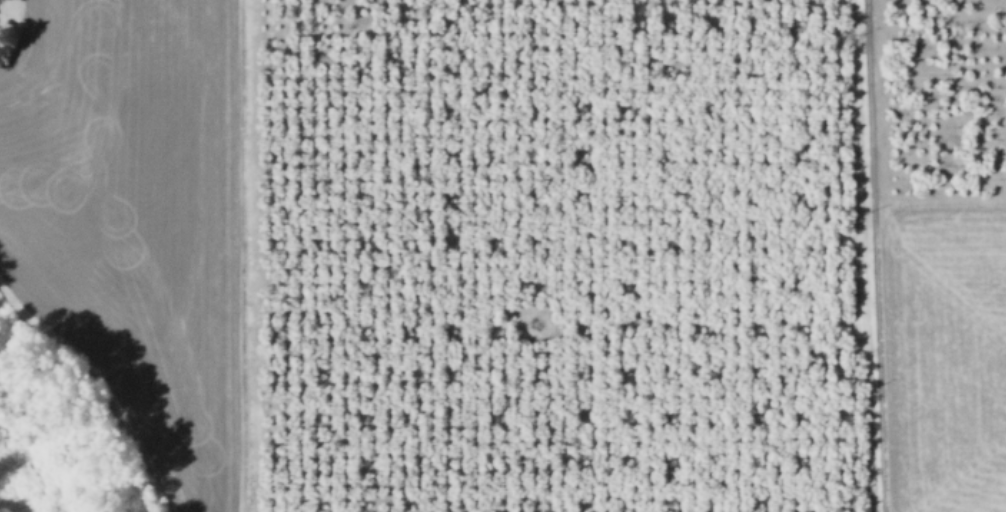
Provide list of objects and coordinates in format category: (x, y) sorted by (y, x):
road: (938, 204)
road: (872, 255)
road: (250, 256)

